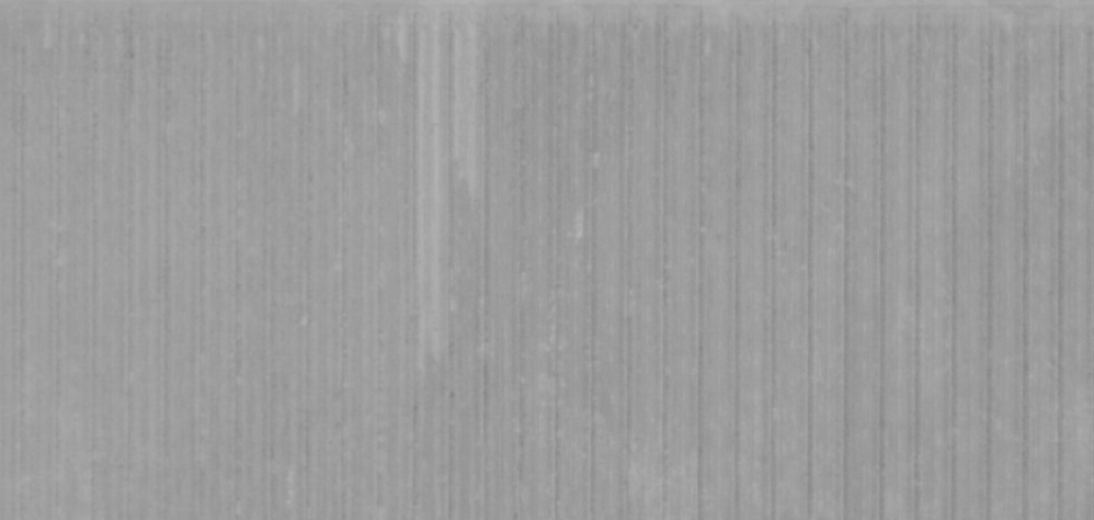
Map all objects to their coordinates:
crop: (547, 260)

